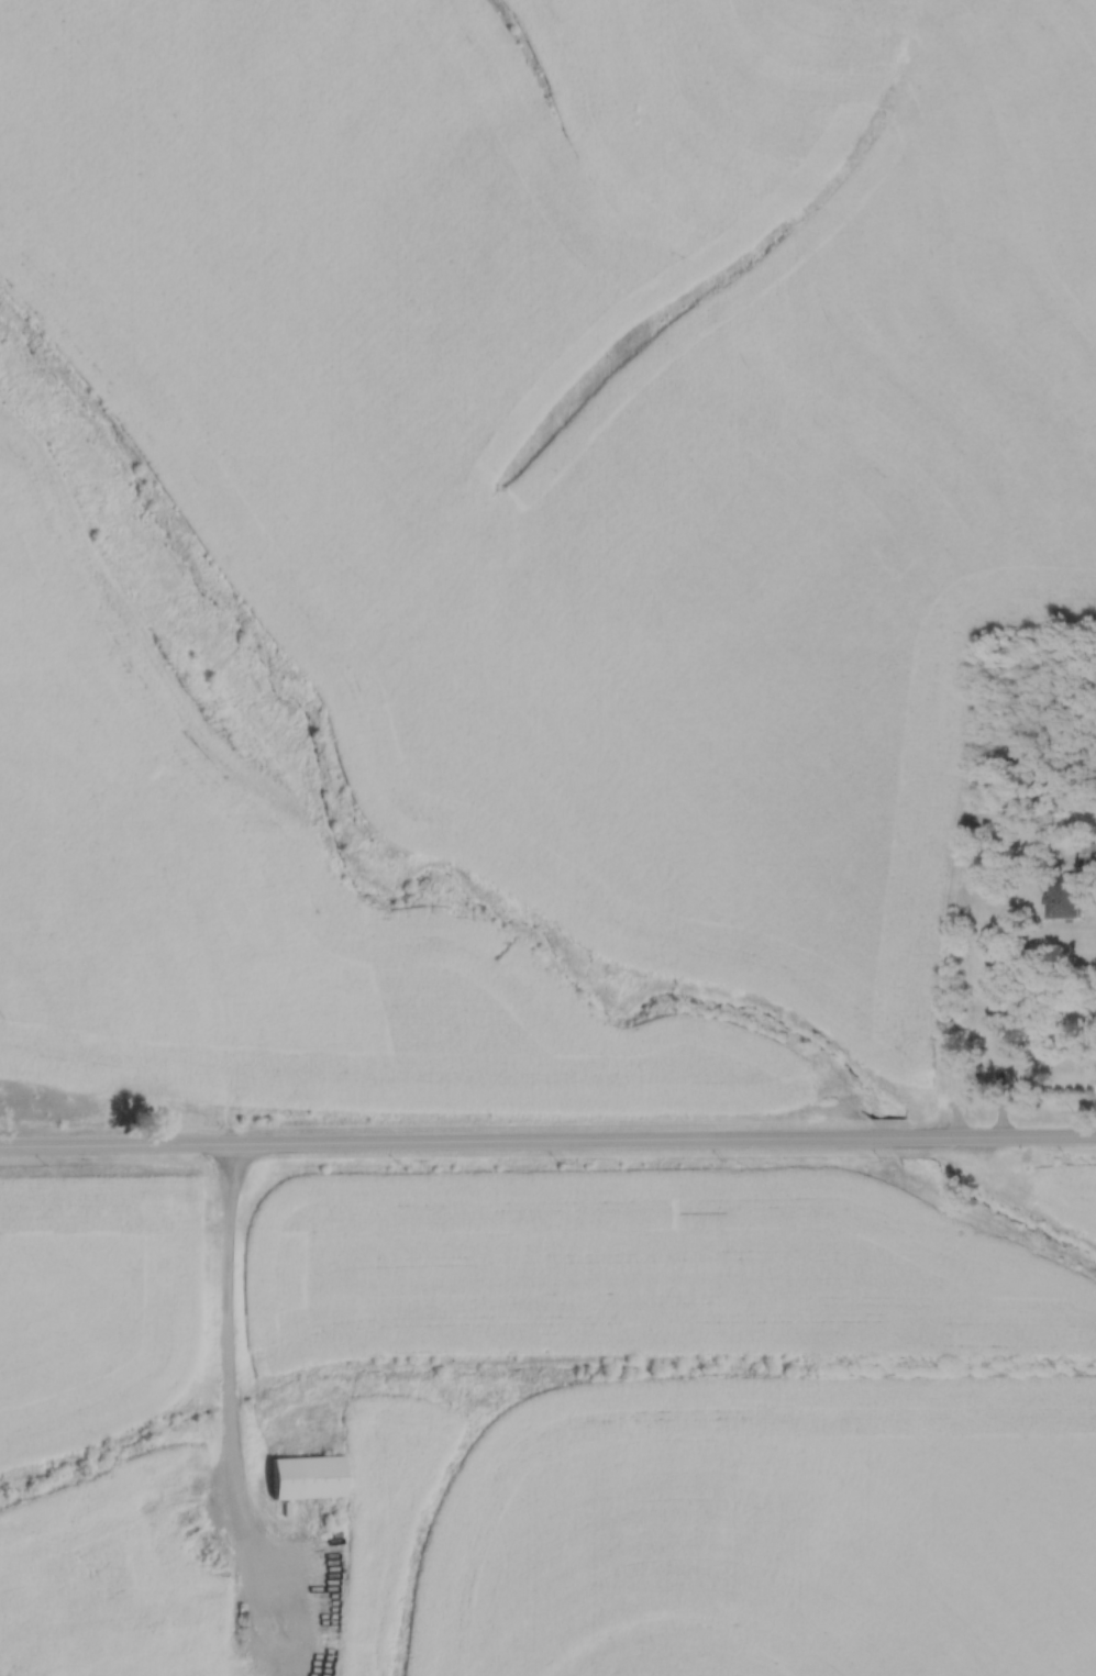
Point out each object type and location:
building: (1067, 884)
road: (989, 979)
road: (547, 1140)
road: (228, 1352)
building: (305, 1477)
building: (165, 1641)
building: (233, 1669)

